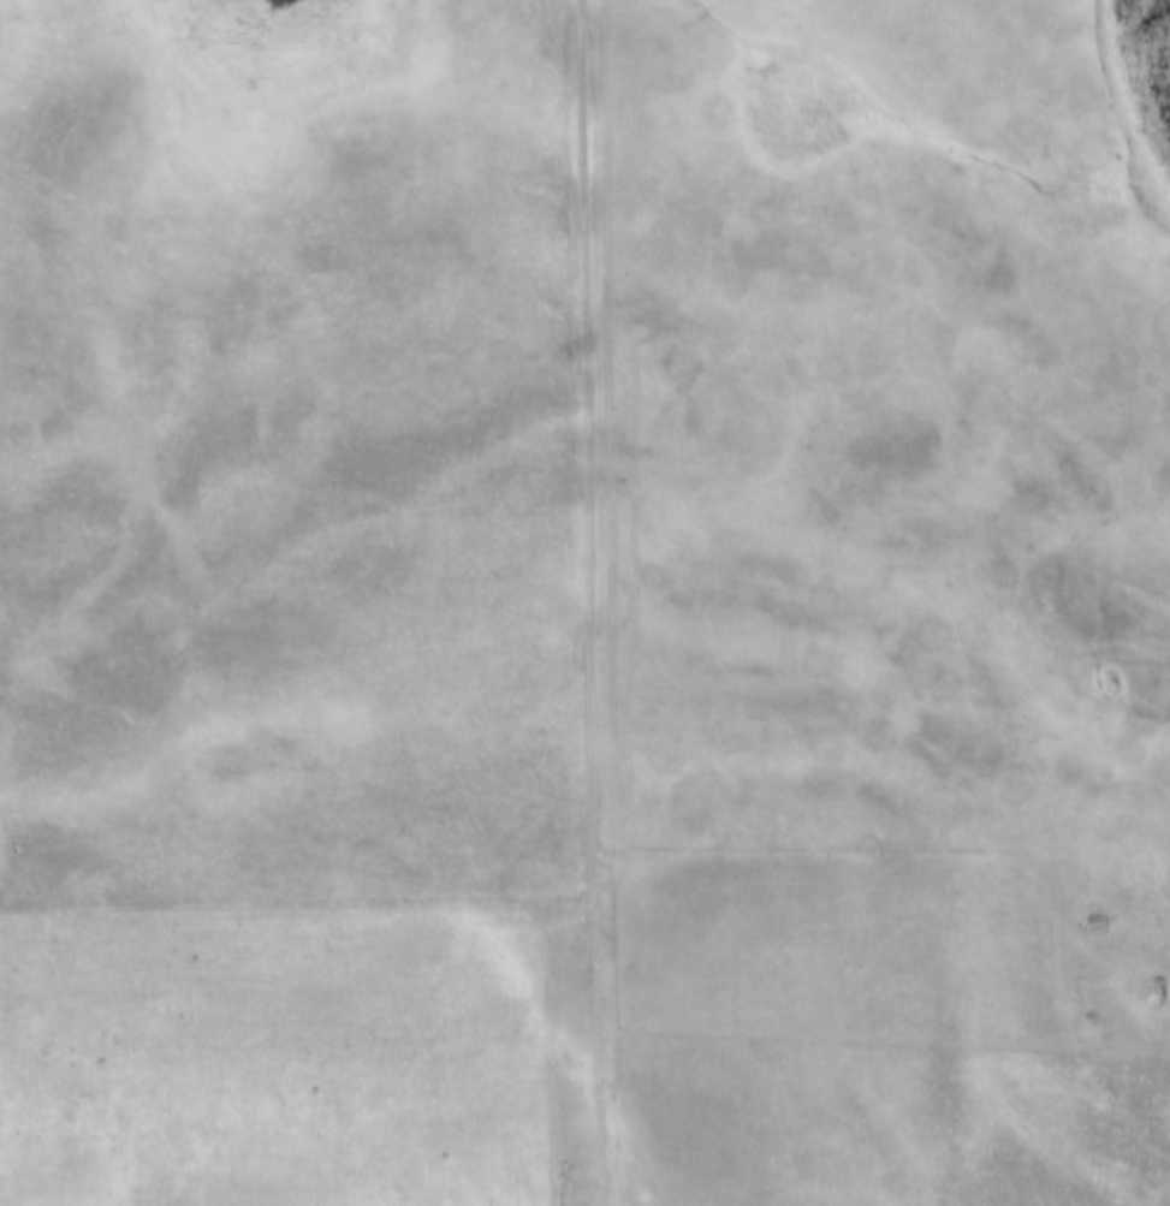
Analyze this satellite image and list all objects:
road: (610, 602)
building: (1097, 920)

